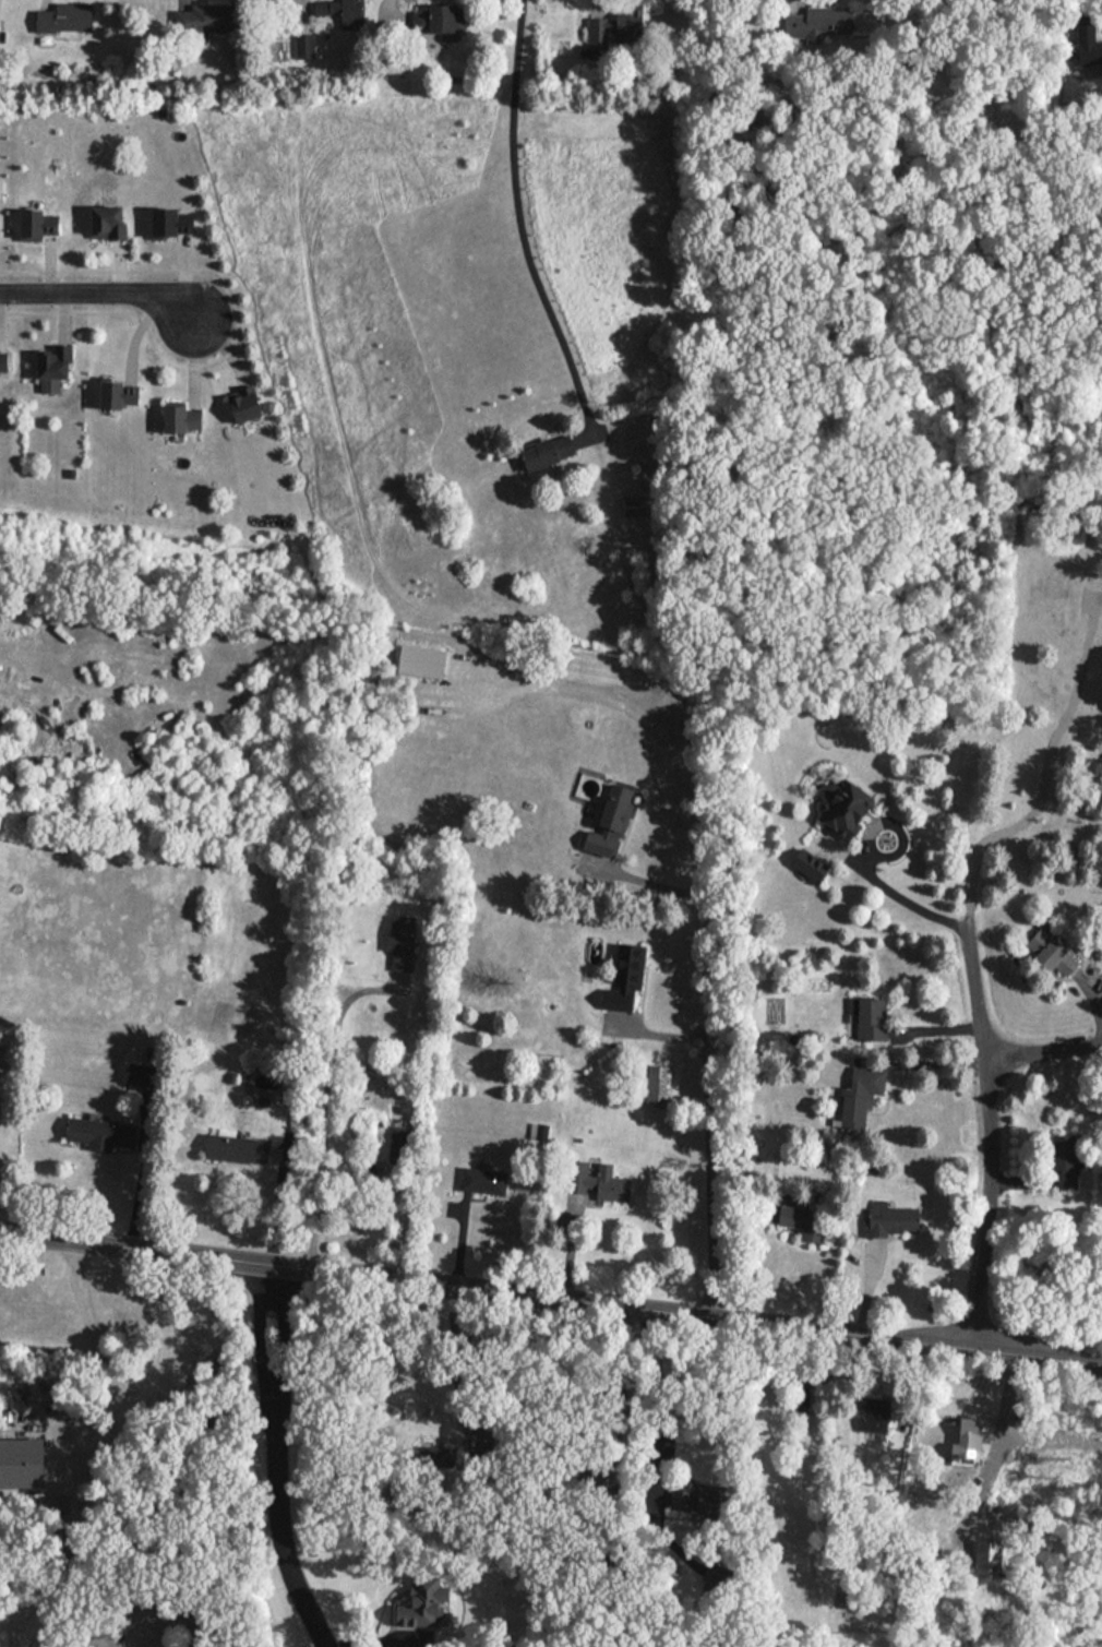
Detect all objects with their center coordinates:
building: (348, 12)
building: (65, 19)
building: (207, 19)
building: (444, 21)
building: (813, 21)
building: (618, 27)
building: (1088, 46)
building: (306, 47)
road: (526, 210)
building: (110, 220)
road: (105, 291)
building: (4, 359)
building: (56, 366)
building: (121, 393)
building: (181, 419)
building: (550, 452)
building: (634, 505)
road: (644, 737)
building: (846, 807)
building: (611, 822)
building: (806, 867)
road: (894, 888)
building: (403, 942)
building: (1053, 953)
building: (627, 977)
building: (870, 1019)
road: (1043, 1051)
road: (709, 1065)
building: (142, 1074)
building: (654, 1084)
building: (860, 1098)
road: (325, 1102)
road: (984, 1129)
building: (103, 1133)
building: (400, 1144)
building: (238, 1148)
building: (484, 1180)
building: (599, 1181)
building: (895, 1218)
building: (807, 1222)
road: (551, 1296)
road: (89, 1327)
road: (257, 1340)
road: (286, 1341)
road: (456, 1360)
road: (659, 1389)
road: (623, 1391)
building: (874, 1415)
road: (95, 1444)
building: (23, 1464)
building: (686, 1502)
road: (280, 1537)
building: (991, 1559)
building: (424, 1602)

